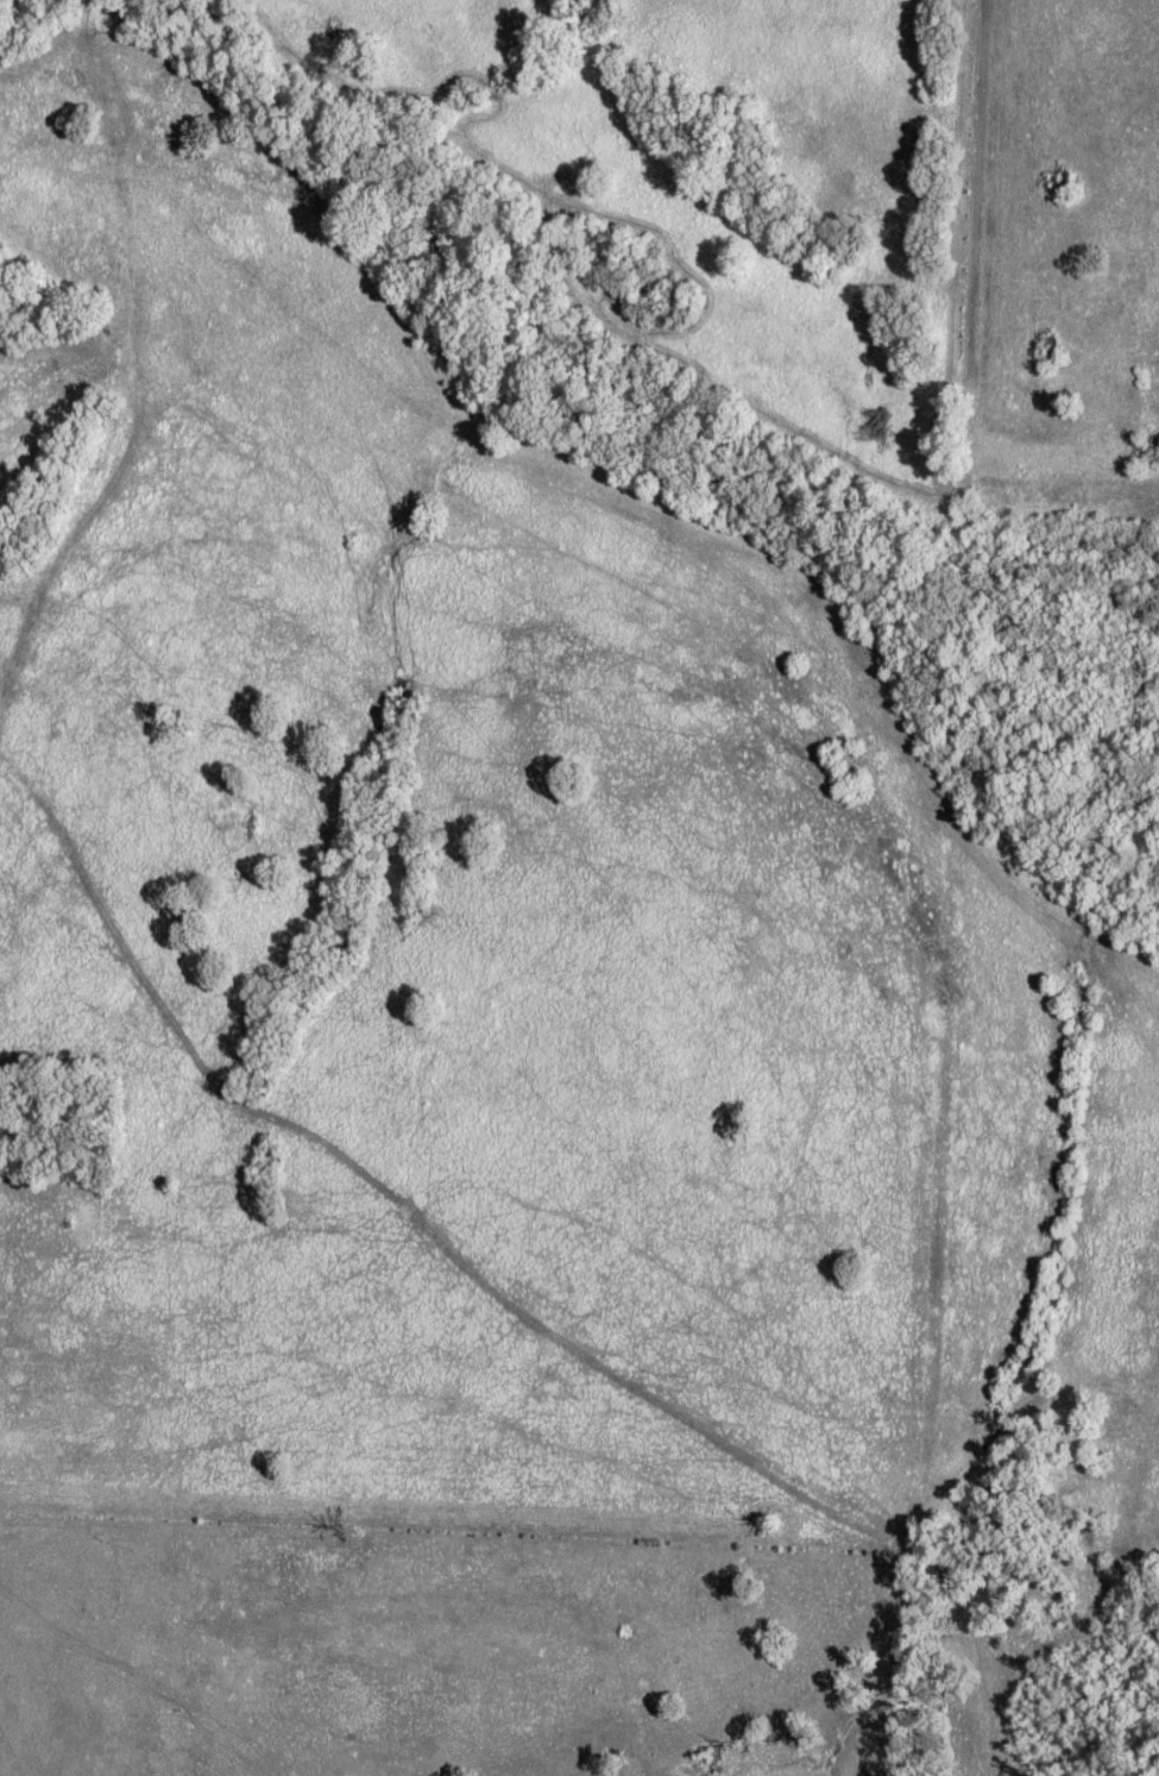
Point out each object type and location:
park: (61, 1128)
road: (222, 1281)

